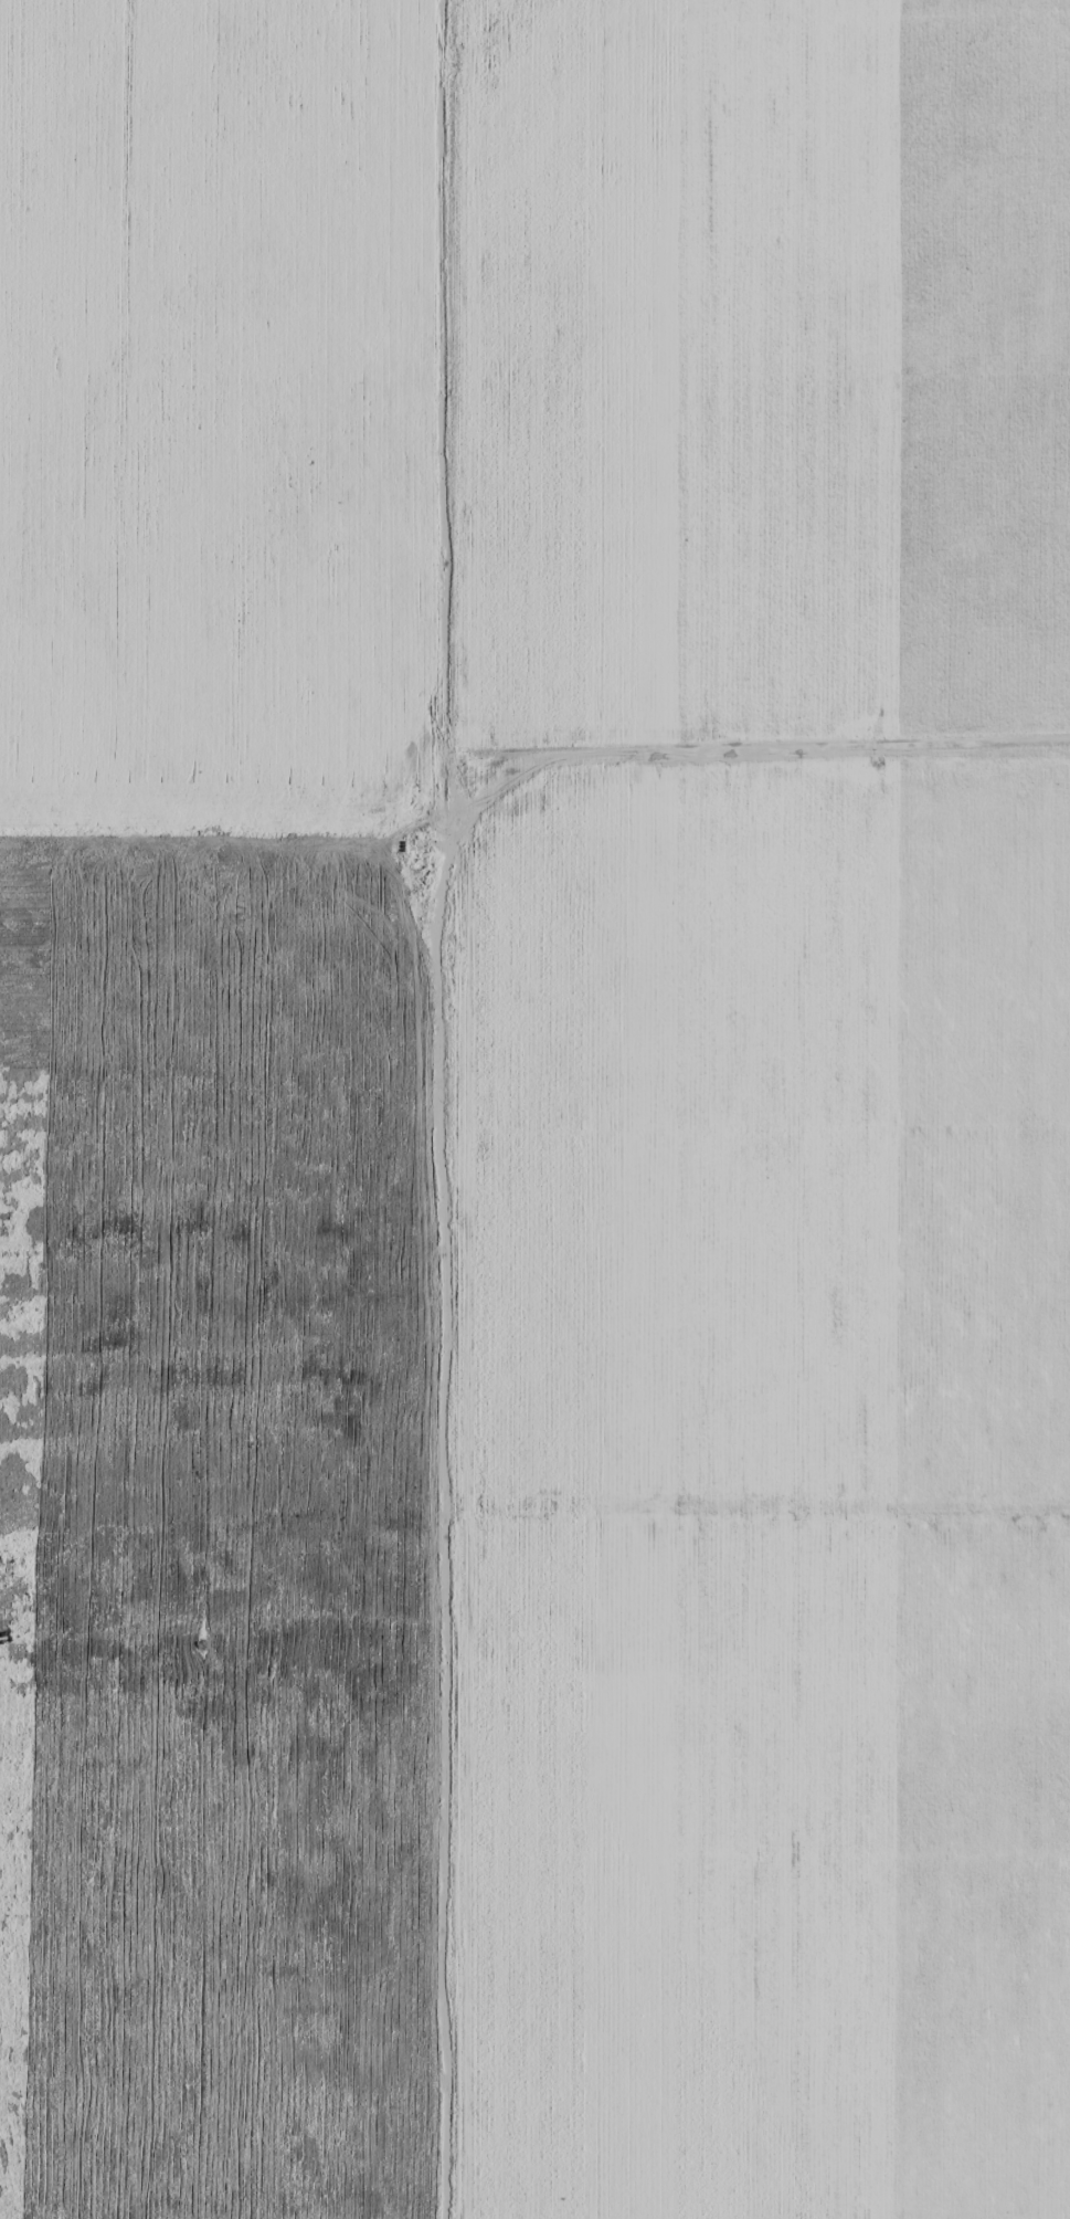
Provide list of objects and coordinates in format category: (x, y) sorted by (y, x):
road: (225, 837)
road: (436, 1108)

